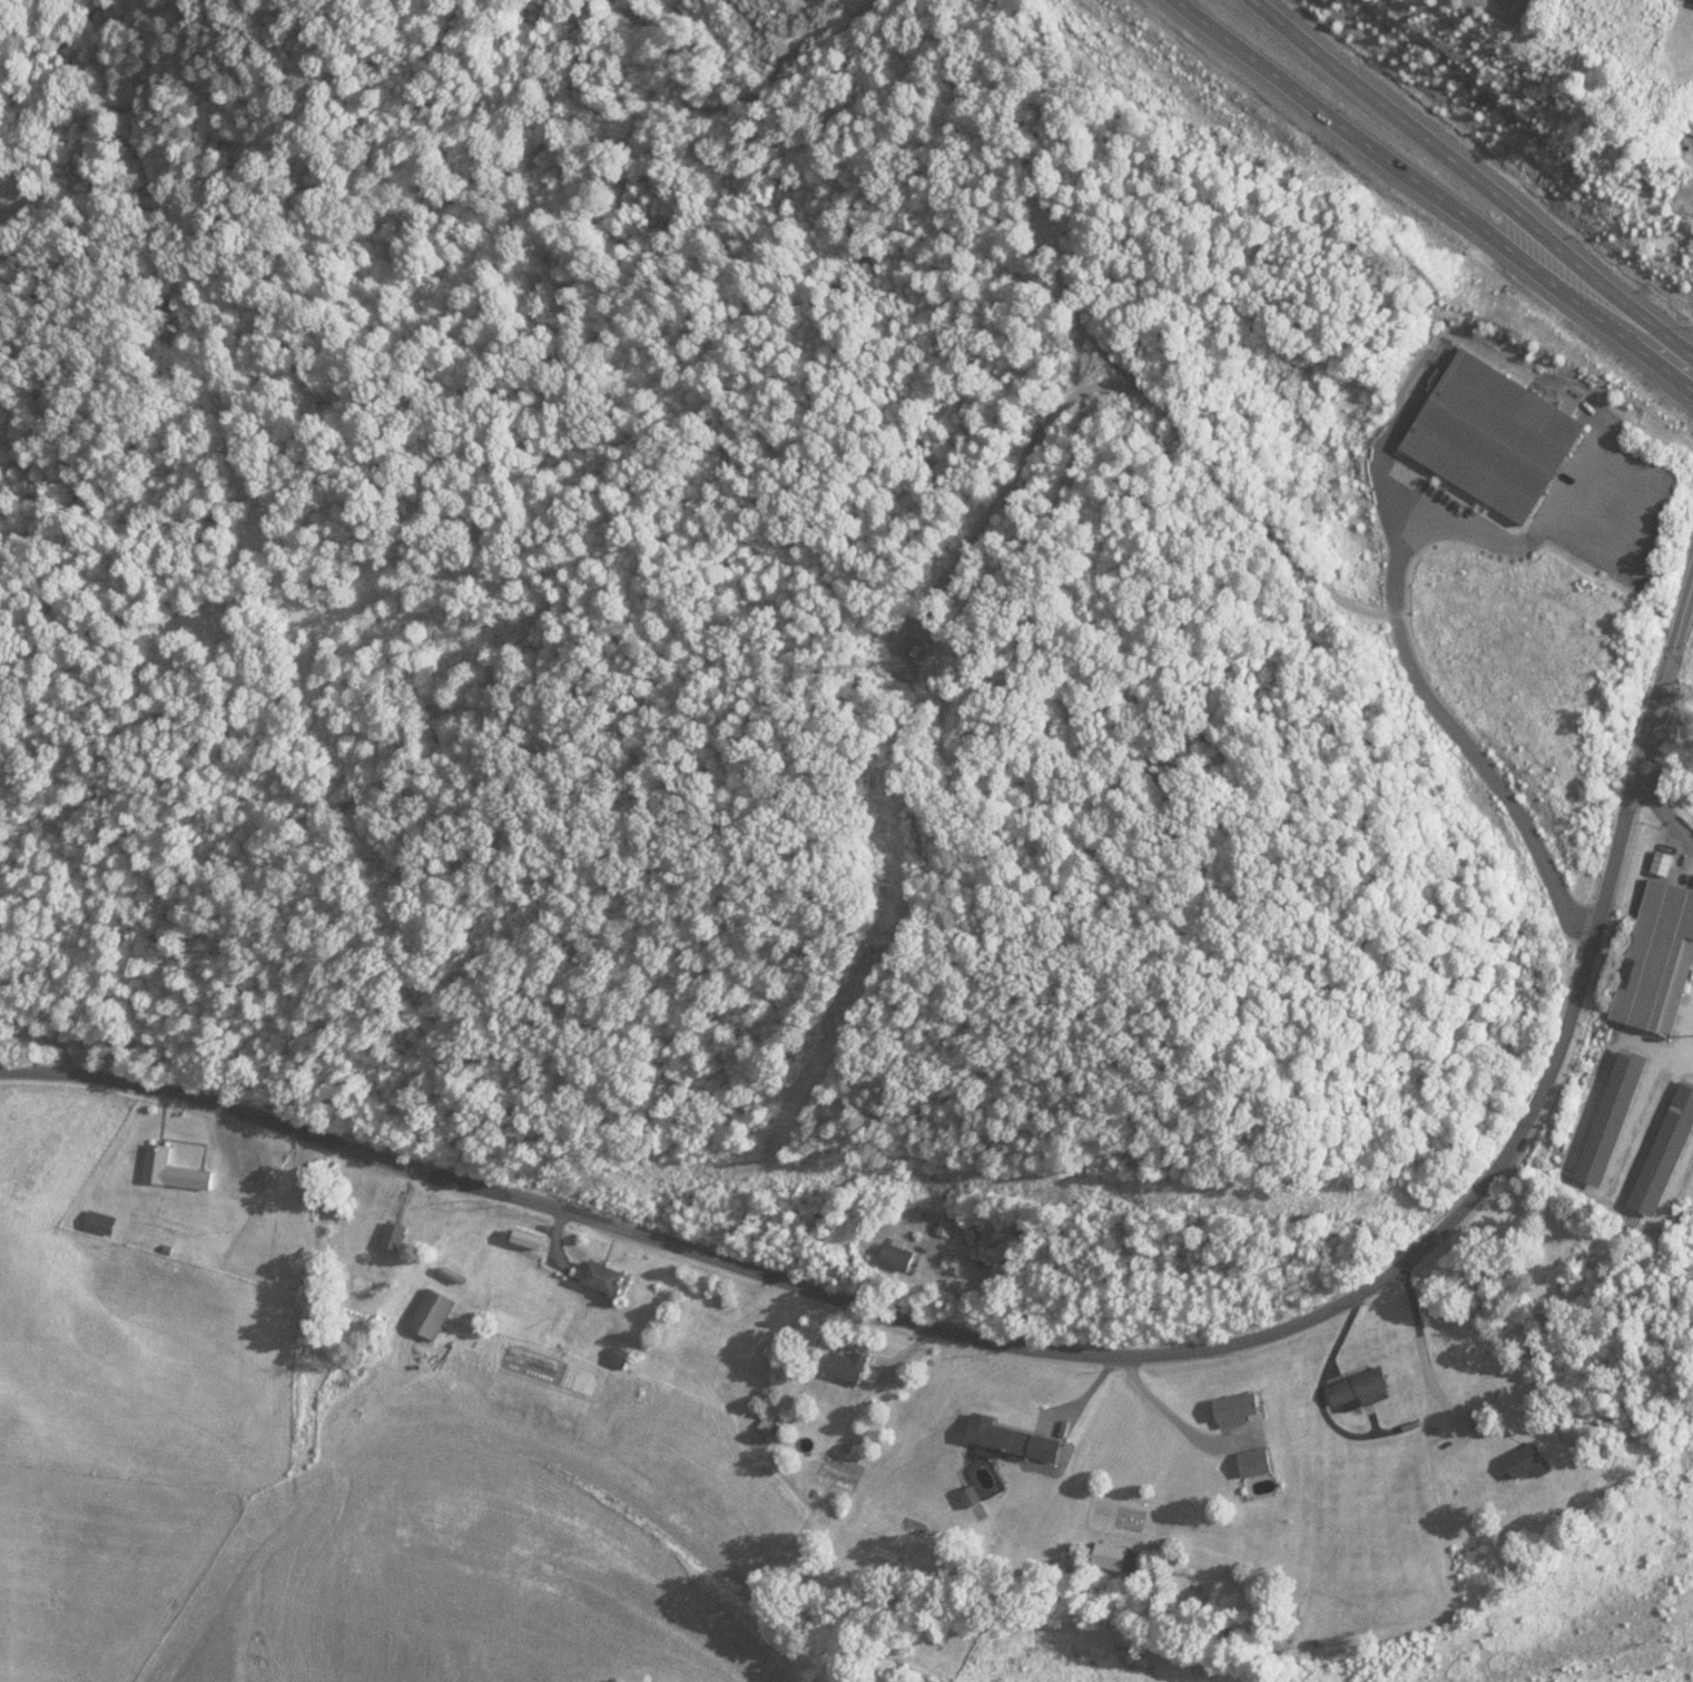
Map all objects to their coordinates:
road: (1471, 181)
road: (1429, 191)
road: (1143, 396)
building: (1492, 439)
road: (1397, 645)
building: (1657, 962)
road: (42, 1031)
building: (1611, 1119)
building: (1665, 1152)
building: (170, 1172)
building: (98, 1224)
building: (391, 1239)
building: (897, 1260)
building: (1691, 1268)
building: (601, 1282)
building: (430, 1316)
building: (1530, 1327)
road: (1072, 1350)
building: (618, 1359)
building: (846, 1368)
building: (1358, 1389)
building: (1234, 1409)
building: (1010, 1439)
building: (1528, 1462)
building: (1253, 1463)
building: (1108, 1556)

